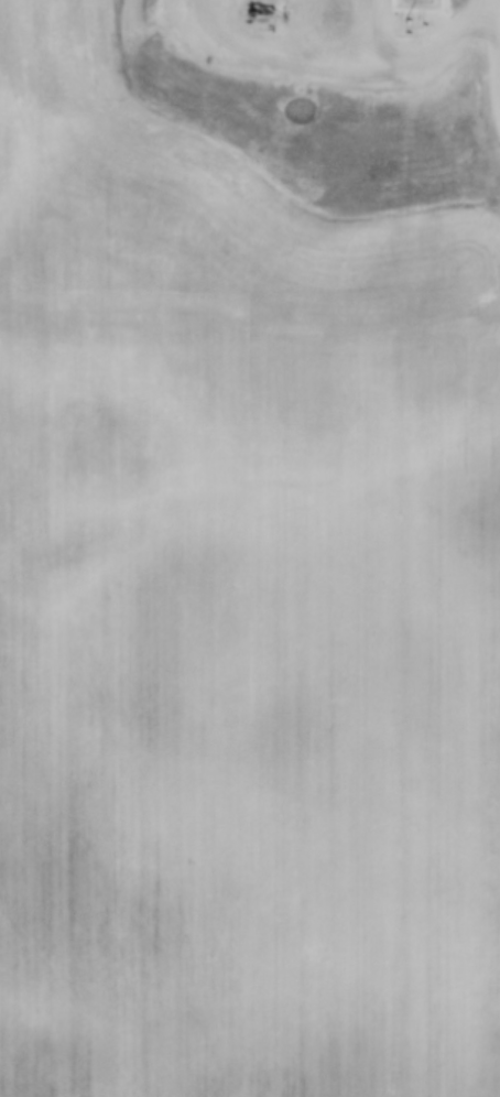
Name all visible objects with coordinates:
building: (257, 12)
road: (366, 30)
road: (446, 43)
road: (270, 65)
building: (434, 78)

